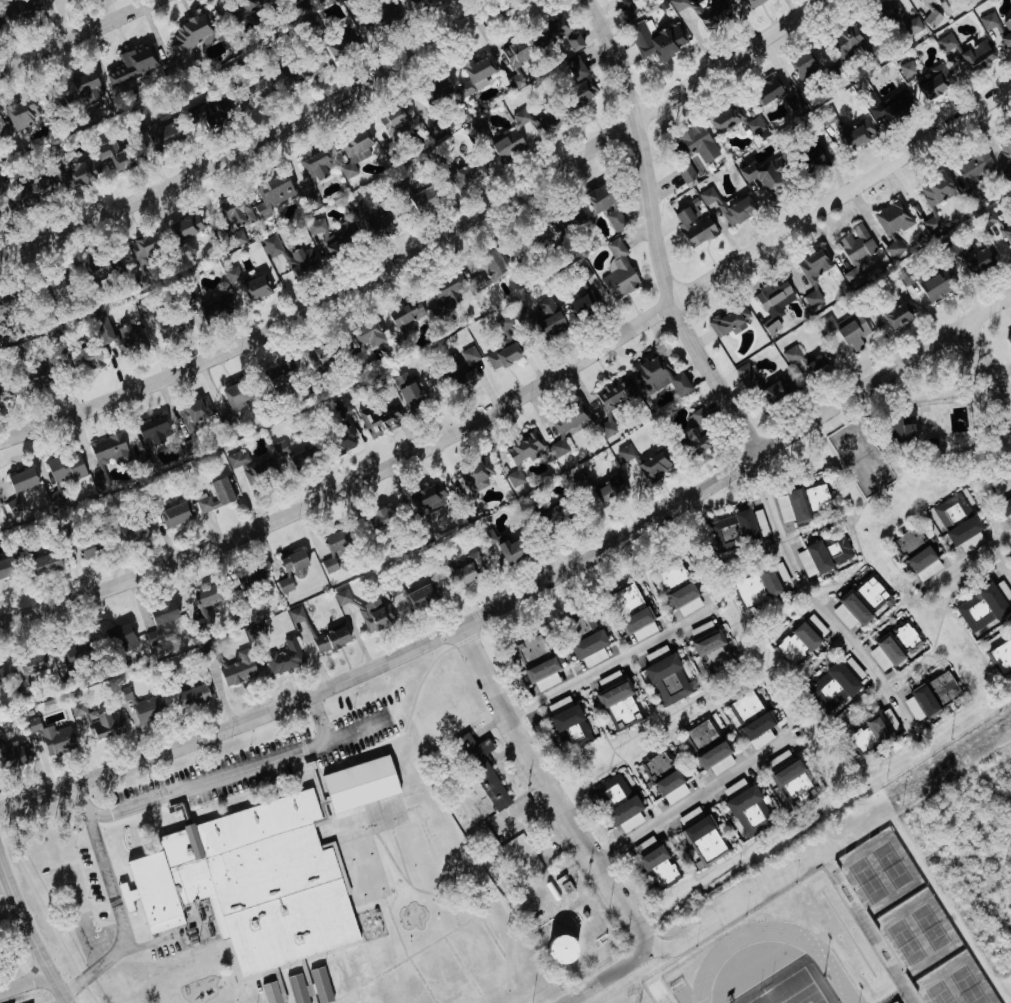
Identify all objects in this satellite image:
building: (925, 2)
building: (418, 3)
building: (750, 3)
building: (678, 4)
building: (251, 5)
building: (22, 9)
building: (883, 9)
building: (711, 13)
building: (384, 16)
building: (931, 18)
building: (911, 25)
road: (76, 32)
building: (190, 34)
building: (559, 34)
building: (846, 39)
building: (342, 42)
building: (966, 52)
building: (515, 61)
building: (806, 63)
building: (132, 67)
building: (478, 71)
building: (912, 78)
building: (580, 81)
building: (935, 81)
building: (464, 88)
building: (83, 90)
building: (764, 90)
building: (434, 91)
building: (54, 100)
building: (793, 101)
building: (897, 107)
building: (207, 113)
building: (729, 118)
building: (394, 119)
building: (535, 124)
building: (757, 128)
building: (479, 130)
building: (159, 131)
building: (851, 133)
road: (261, 143)
building: (696, 143)
building: (507, 146)
building: (353, 151)
building: (112, 155)
building: (316, 165)
building: (974, 167)
building: (685, 172)
building: (78, 173)
building: (469, 174)
building: (763, 174)
building: (34, 189)
building: (271, 194)
building: (706, 195)
building: (598, 198)
building: (934, 199)
building: (736, 210)
building: (369, 218)
building: (892, 218)
building: (567, 219)
building: (615, 220)
building: (235, 225)
building: (693, 226)
building: (185, 227)
building: (1007, 230)
road: (654, 234)
building: (328, 239)
building: (856, 243)
building: (144, 245)
building: (271, 245)
building: (1010, 246)
road: (425, 247)
building: (894, 248)
building: (972, 257)
building: (299, 260)
building: (492, 265)
building: (813, 266)
building: (618, 271)
building: (231, 275)
building: (851, 276)
building: (937, 284)
building: (259, 287)
building: (444, 293)
building: (812, 298)
building: (7, 303)
building: (771, 303)
building: (583, 305)
building: (210, 306)
building: (898, 314)
building: (522, 316)
building: (729, 320)
building: (549, 321)
building: (845, 329)
building: (368, 335)
building: (121, 337)
building: (1008, 341)
building: (502, 356)
building: (1010, 356)
building: (84, 357)
building: (805, 361)
road: (986, 363)
building: (464, 367)
building: (32, 375)
building: (280, 377)
building: (658, 377)
building: (401, 382)
building: (613, 394)
road: (526, 395)
building: (235, 396)
building: (411, 396)
building: (195, 410)
building: (379, 419)
building: (902, 425)
building: (564, 427)
building: (152, 432)
building: (695, 432)
building: (343, 441)
building: (109, 449)
building: (625, 453)
building: (291, 455)
building: (521, 455)
park: (860, 456)
building: (237, 459)
building: (655, 465)
building: (65, 468)
building: (260, 470)
building: (475, 474)
building: (100, 479)
building: (21, 480)
building: (610, 489)
building: (218, 495)
building: (55, 497)
building: (428, 498)
building: (815, 498)
building: (782, 504)
building: (12, 505)
building: (1005, 505)
building: (796, 506)
building: (472, 508)
building: (178, 513)
building: (383, 517)
building: (955, 518)
building: (734, 530)
building: (130, 532)
building: (66, 534)
building: (335, 541)
building: (970, 542)
building: (908, 543)
building: (88, 547)
building: (505, 549)
building: (824, 555)
building: (292, 560)
road: (966, 561)
road: (1001, 561)
building: (45, 563)
building: (923, 563)
building: (328, 565)
building: (6, 568)
building: (469, 568)
building: (672, 576)
building: (249, 580)
building: (284, 585)
building: (757, 588)
road: (526, 590)
building: (869, 594)
building: (342, 596)
building: (419, 596)
building: (684, 600)
building: (624, 601)
building: (203, 603)
road: (816, 603)
building: (981, 608)
building: (854, 609)
building: (162, 613)
building: (295, 614)
building: (372, 615)
building: (843, 616)
building: (637, 624)
building: (583, 625)
building: (815, 626)
building: (254, 632)
building: (152, 636)
building: (122, 638)
building: (327, 638)
building: (707, 638)
building: (903, 639)
building: (588, 643)
building: (797, 643)
building: (530, 648)
building: (75, 653)
building: (884, 653)
building: (598, 654)
building: (1001, 656)
building: (284, 657)
building: (30, 662)
road: (611, 663)
building: (237, 668)
building: (852, 669)
building: (542, 673)
building: (666, 676)
building: (833, 687)
building: (941, 688)
building: (123, 694)
building: (192, 696)
building: (616, 699)
building: (558, 704)
building: (920, 704)
building: (77, 708)
building: (148, 709)
road: (319, 718)
building: (752, 719)
building: (104, 723)
building: (571, 725)
building: (874, 729)
building: (700, 735)
building: (13, 756)
building: (714, 757)
building: (656, 766)
building: (482, 769)
road: (234, 774)
building: (792, 782)
road: (547, 784)
building: (670, 787)
building: (733, 787)
road: (695, 797)
building: (618, 803)
building: (748, 811)
building: (689, 816)
building: (702, 840)
building: (653, 860)
park: (890, 864)
building: (270, 871)
parking lot: (766, 880)
park: (866, 880)
road: (115, 900)
road: (737, 907)
park: (928, 926)
road: (30, 932)
park: (905, 941)
building: (560, 948)
track: (709, 963)
road: (610, 973)
building: (305, 976)
road: (25, 981)
building: (319, 984)
park: (966, 985)
building: (296, 988)
park: (789, 990)
park: (939, 992)

